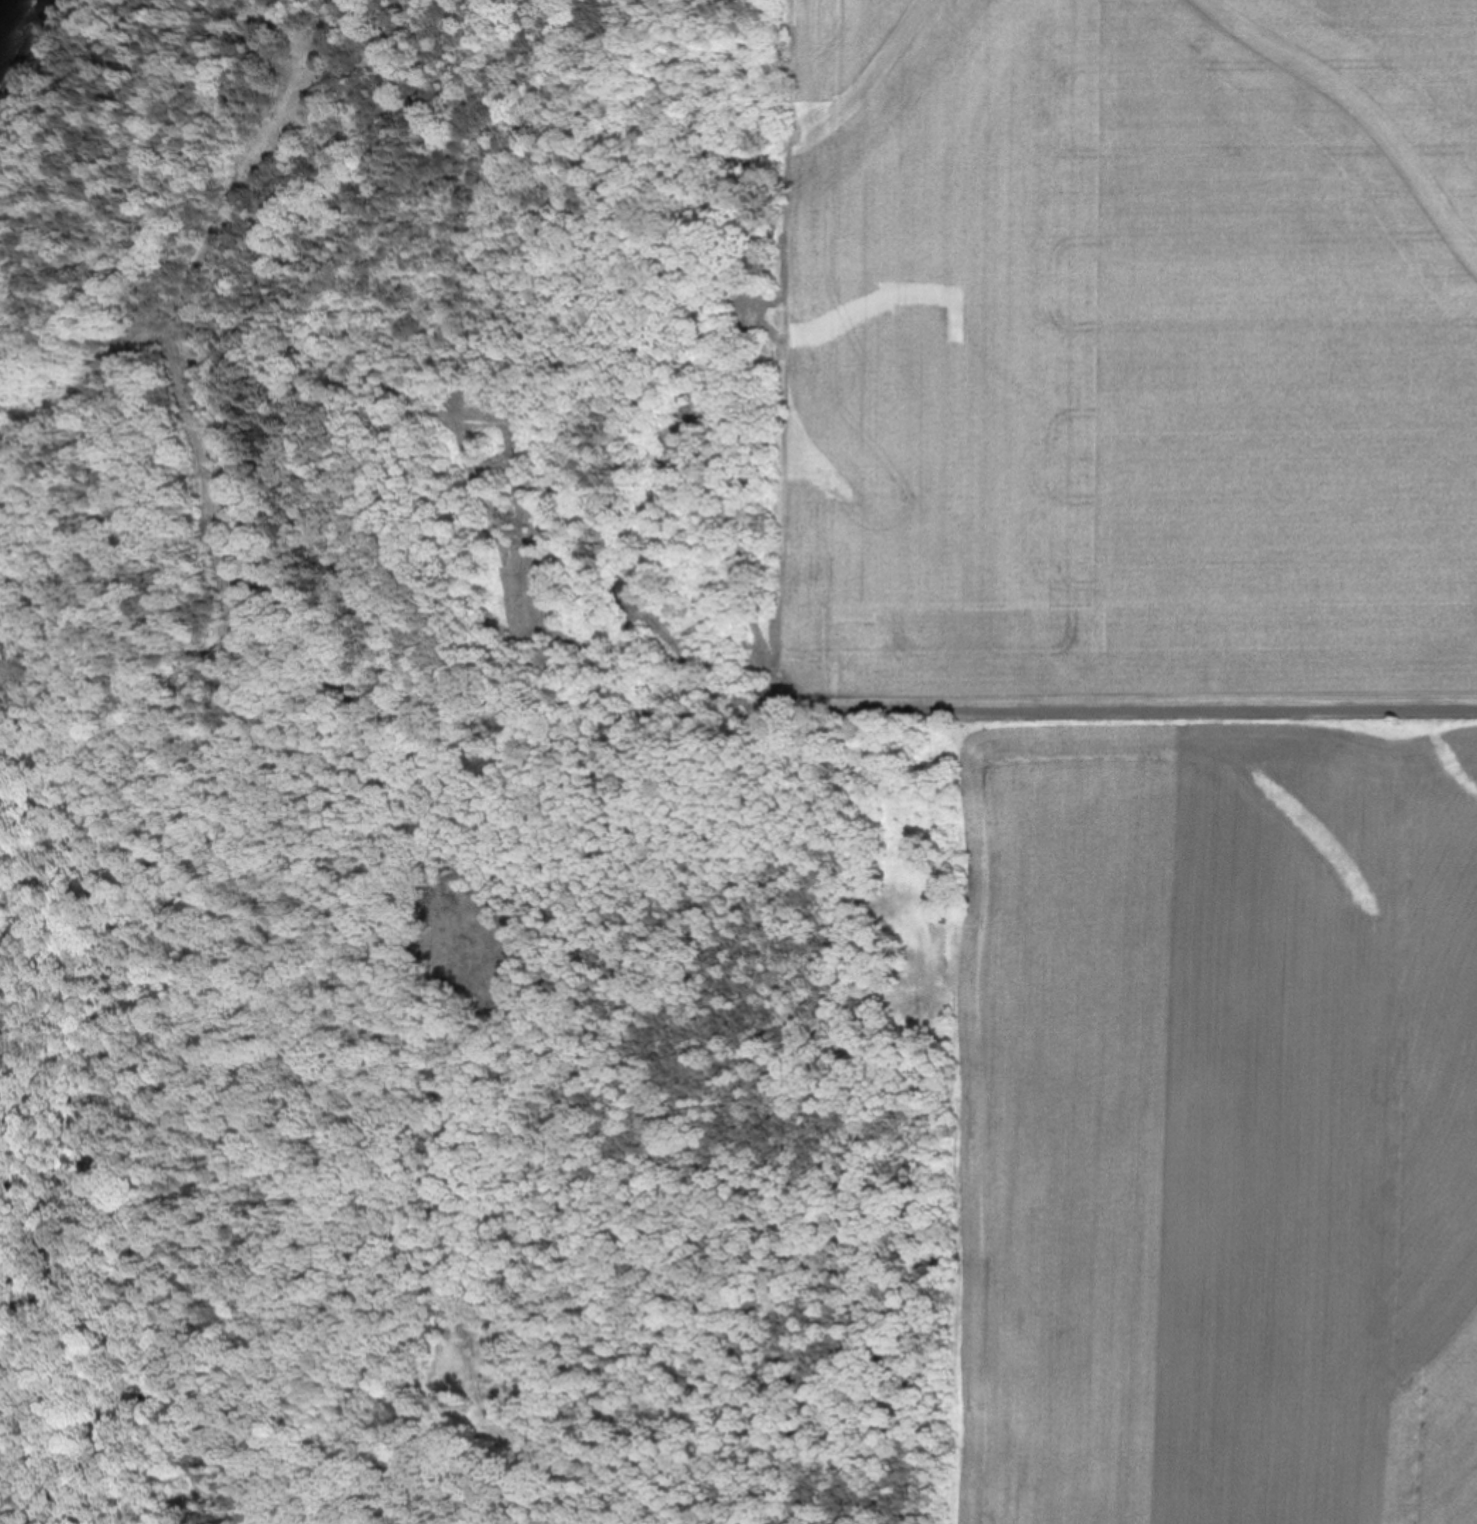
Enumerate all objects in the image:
crop: (1172, 711)

